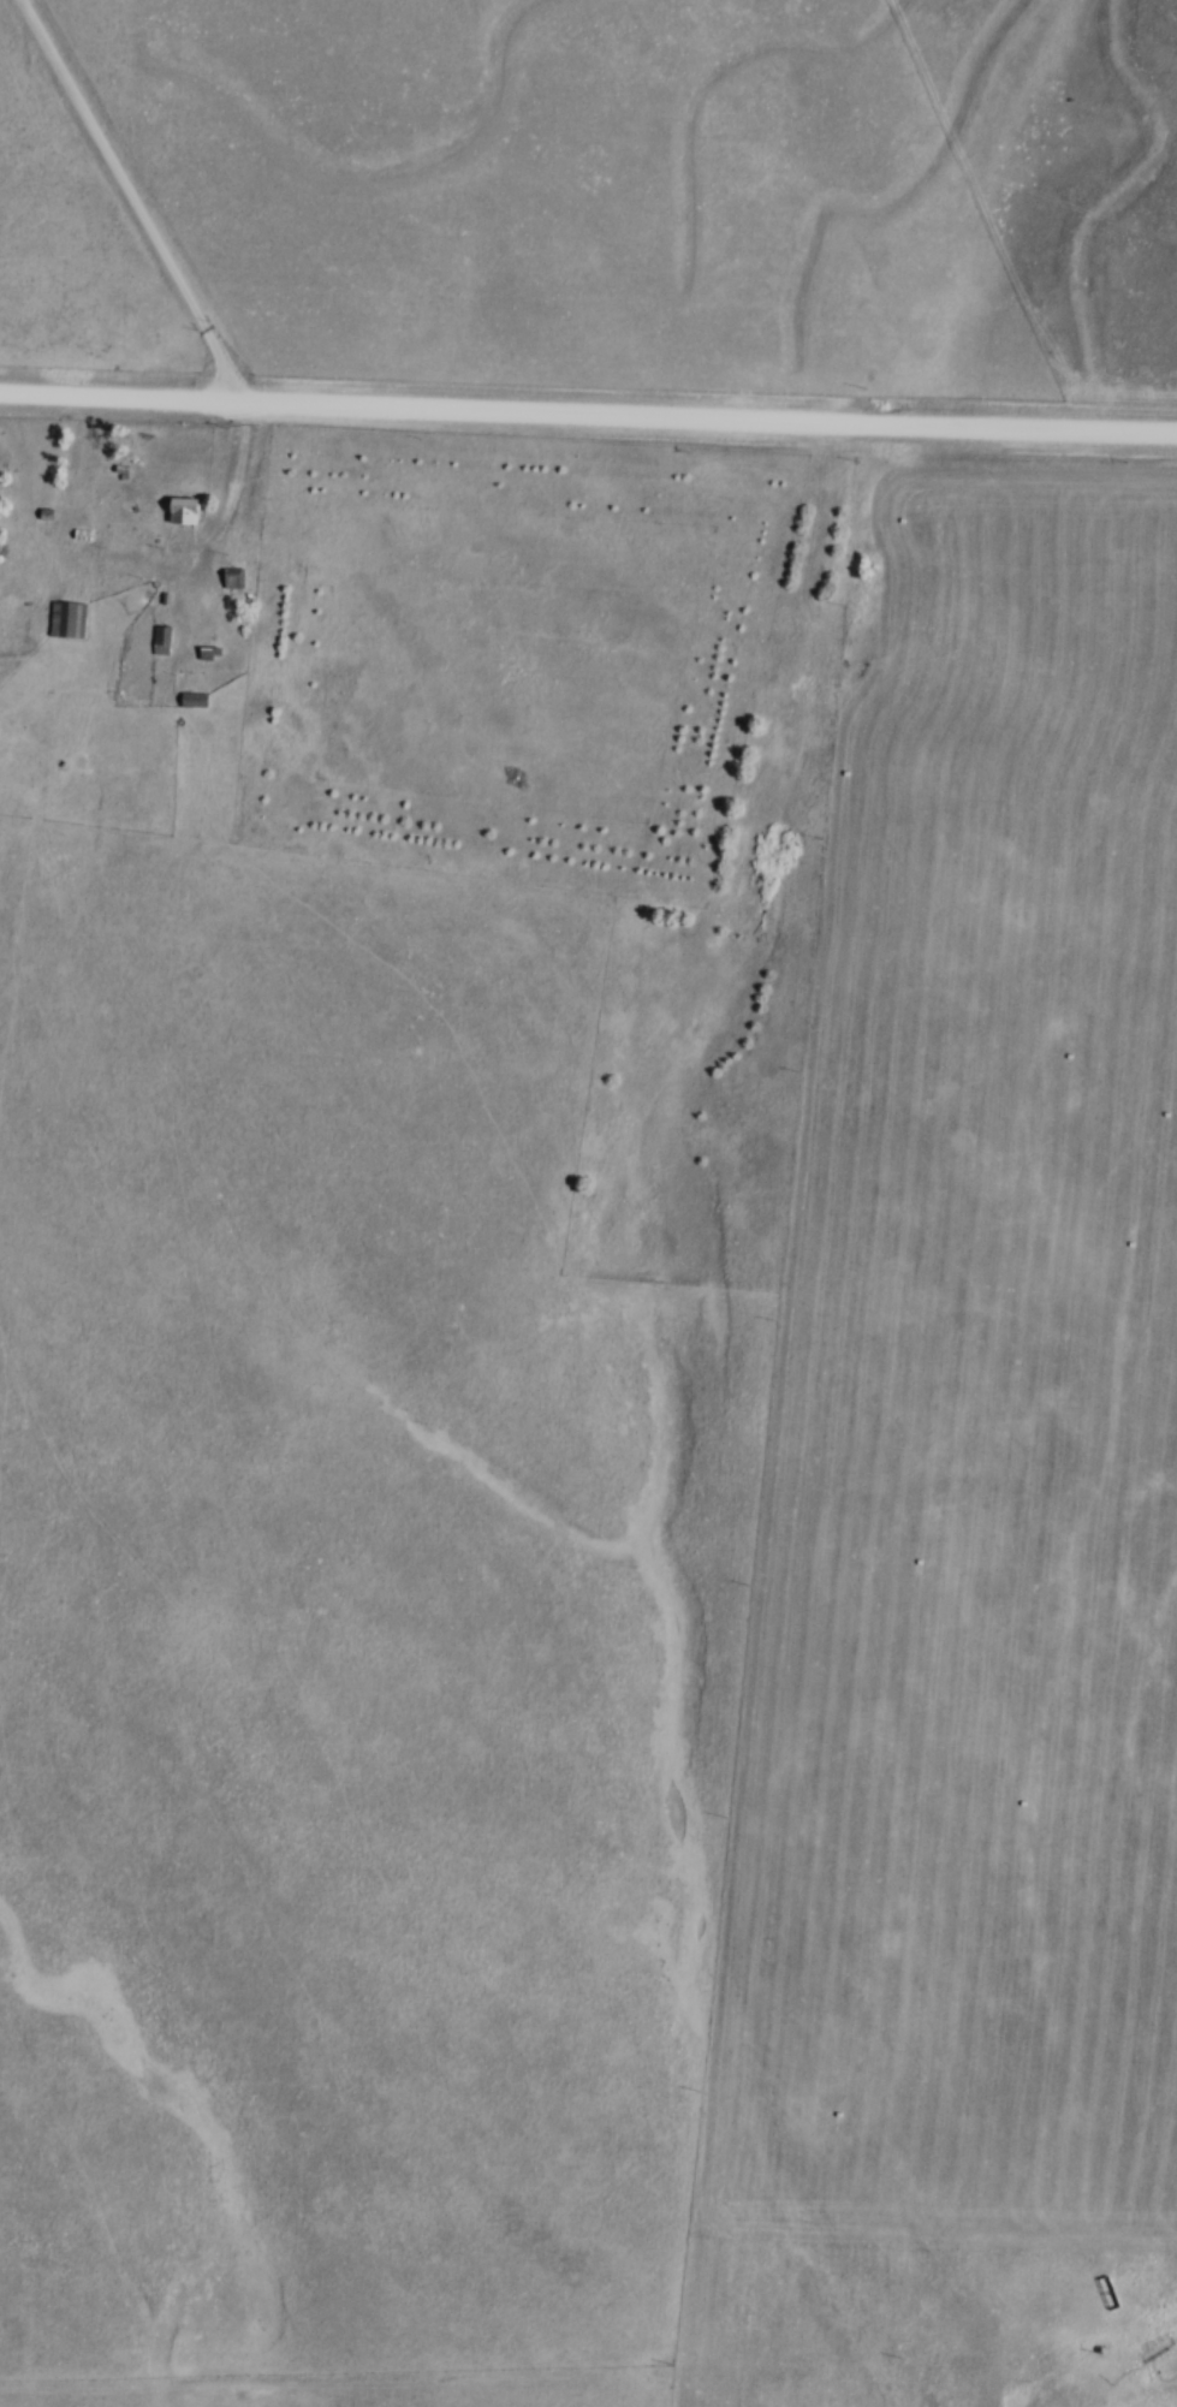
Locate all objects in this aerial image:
road: (182, 278)
road: (588, 411)
building: (179, 512)
building: (231, 580)
building: (66, 620)
building: (159, 641)
building: (204, 654)
building: (191, 700)

